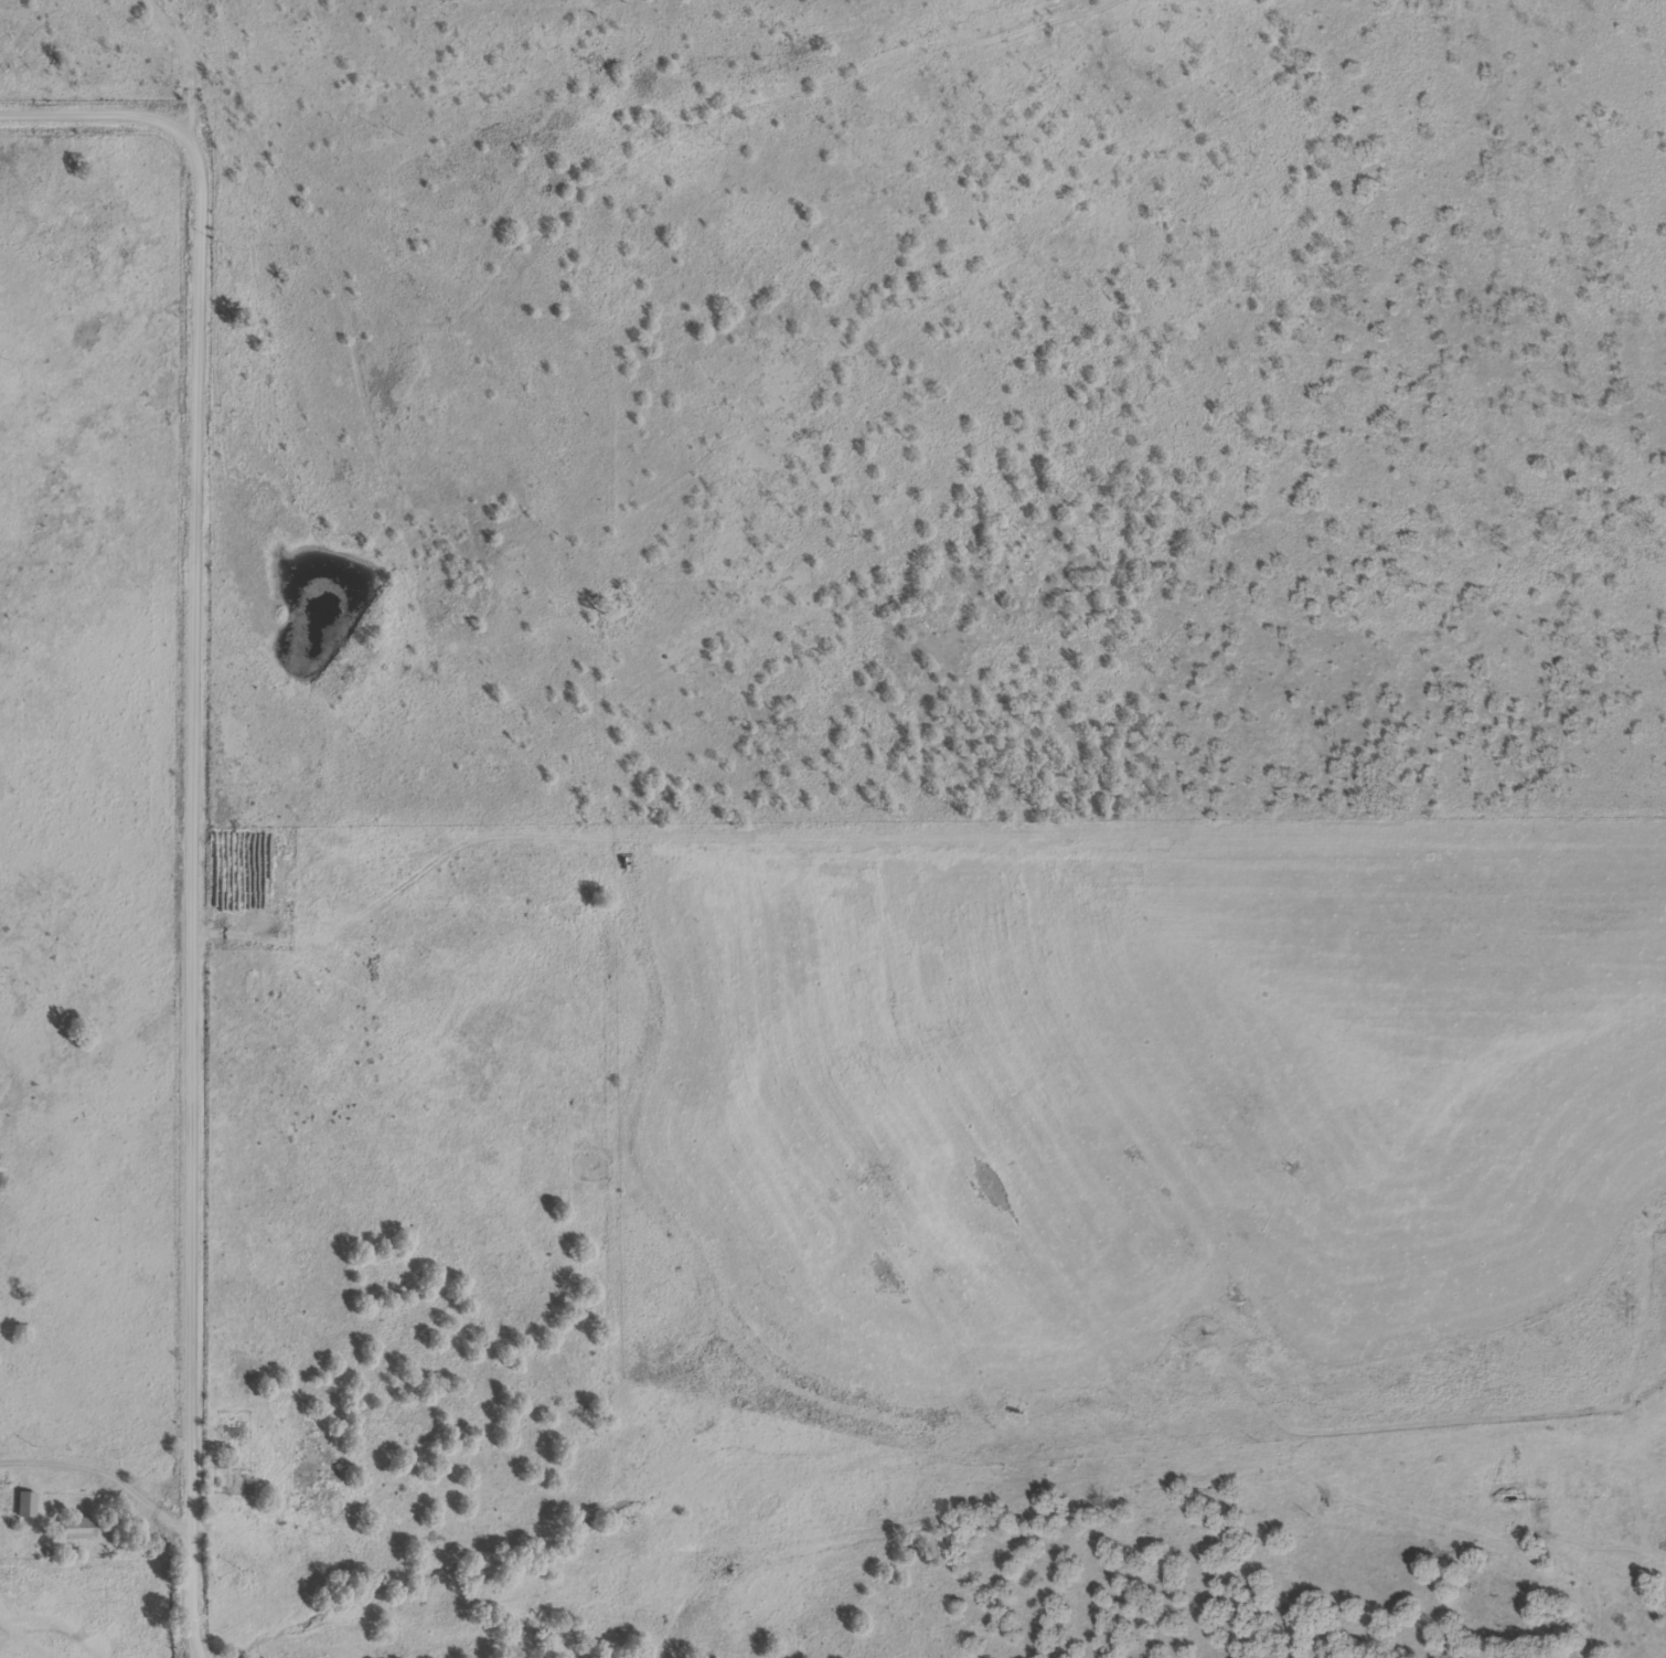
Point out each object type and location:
road: (107, 118)
road: (196, 910)
building: (23, 1503)
building: (75, 1528)

